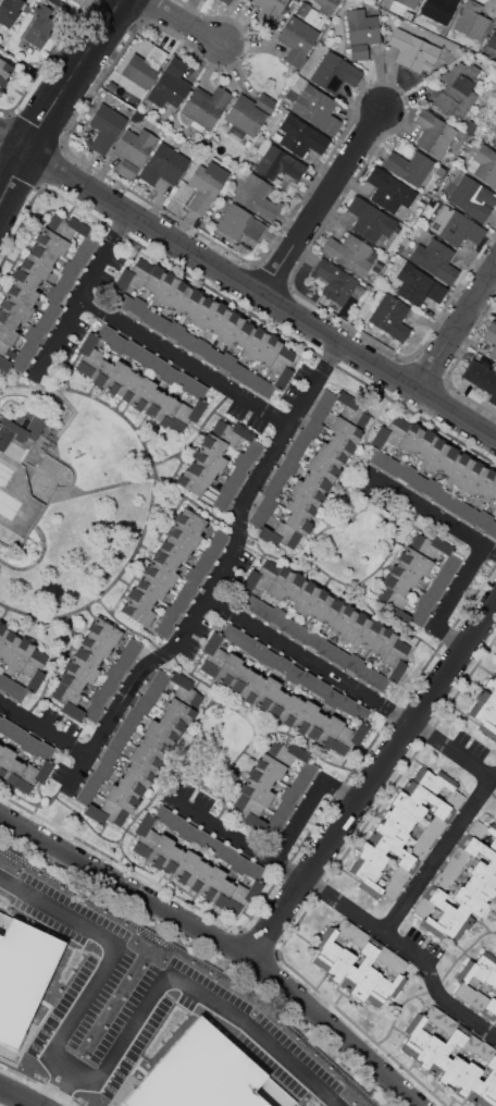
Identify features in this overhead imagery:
building: (225, 1)
building: (409, 2)
building: (326, 5)
building: (26, 8)
building: (303, 9)
building: (269, 10)
building: (438, 10)
building: (10, 11)
building: (419, 16)
building: (471, 21)
road: (186, 22)
building: (40, 26)
building: (361, 33)
building: (492, 38)
building: (297, 40)
building: (413, 51)
building: (144, 66)
building: (4, 70)
building: (335, 73)
building: (170, 84)
building: (110, 85)
building: (457, 90)
building: (131, 98)
road: (59, 101)
building: (495, 106)
building: (206, 107)
building: (318, 110)
building: (248, 114)
building: (137, 115)
building: (469, 127)
building: (494, 127)
building: (104, 128)
building: (434, 134)
building: (300, 136)
building: (494, 142)
building: (132, 151)
building: (277, 162)
building: (164, 164)
building: (484, 165)
building: (409, 167)
building: (206, 185)
building: (388, 189)
building: (438, 192)
building: (257, 197)
building: (472, 198)
building: (423, 199)
road: (324, 201)
building: (370, 220)
building: (239, 223)
building: (66, 226)
building: (457, 226)
building: (397, 230)
building: (51, 241)
building: (88, 243)
building: (402, 244)
building: (42, 253)
building: (348, 253)
building: (79, 258)
building: (435, 260)
building: (35, 266)
building: (70, 269)
building: (134, 274)
building: (25, 278)
building: (153, 278)
building: (335, 281)
building: (64, 283)
road: (247, 284)
building: (418, 285)
building: (165, 288)
building: (22, 292)
building: (54, 294)
building: (178, 295)
building: (122, 300)
building: (191, 302)
building: (137, 306)
building: (16, 307)
building: (51, 310)
building: (202, 312)
building: (147, 316)
building: (390, 317)
building: (216, 318)
building: (495, 318)
building: (9, 319)
building: (44, 323)
building: (161, 324)
building: (230, 328)
building: (175, 330)
road: (457, 331)
building: (107, 333)
building: (7, 334)
building: (33, 334)
road: (59, 334)
building: (244, 334)
road: (147, 335)
building: (491, 337)
building: (186, 340)
building: (255, 343)
building: (117, 344)
building: (200, 346)
building: (28, 348)
building: (132, 349)
building: (269, 349)
building: (88, 355)
building: (212, 356)
building: (145, 357)
building: (3, 358)
building: (20, 361)
building: (226, 361)
building: (158, 366)
building: (282, 366)
building: (237, 371)
building: (101, 372)
building: (170, 374)
building: (114, 377)
building: (481, 378)
building: (184, 380)
building: (250, 380)
building: (128, 385)
building: (264, 388)
building: (198, 389)
building: (141, 394)
building: (326, 400)
building: (152, 403)
building: (165, 410)
building: (352, 410)
building: (318, 413)
building: (185, 415)
building: (312, 427)
building: (20, 428)
building: (346, 429)
building: (232, 432)
building: (389, 432)
building: (410, 437)
building: (302, 439)
building: (212, 443)
building: (424, 443)
building: (340, 444)
building: (253, 450)
building: (295, 452)
building: (330, 455)
building: (435, 455)
building: (210, 458)
building: (379, 458)
building: (448, 460)
building: (243, 462)
building: (288, 465)
building: (393, 467)
building: (322, 468)
building: (460, 469)
building: (201, 471)
building: (407, 472)
building: (237, 476)
building: (280, 477)
building: (473, 478)
building: (317, 482)
building: (418, 482)
building: (486, 484)
building: (197, 486)
building: (228, 488)
building: (431, 488)
building: (271, 490)
building: (307, 493)
building: (493, 494)
building: (443, 497)
building: (222, 501)
building: (268, 504)
building: (456, 505)
building: (300, 507)
road: (429, 509)
building: (469, 514)
building: (259, 517)
building: (483, 519)
building: (190, 520)
building: (298, 524)
building: (491, 529)
building: (184, 534)
building: (278, 534)
building: (219, 538)
building: (430, 545)
building: (175, 548)
building: (211, 551)
building: (166, 560)
building: (414, 560)
building: (203, 564)
building: (451, 564)
building: (405, 573)
building: (160, 574)
building: (194, 576)
building: (261, 576)
road: (222, 577)
building: (443, 577)
building: (281, 582)
building: (396, 583)
building: (152, 587)
building: (295, 588)
building: (187, 590)
building: (434, 590)
building: (140, 597)
building: (305, 598)
road: (449, 598)
building: (424, 601)
building: (249, 602)
building: (179, 603)
building: (319, 604)
building: (394, 604)
building: (262, 611)
building: (137, 612)
building: (332, 612)
building: (170, 615)
building: (276, 616)
building: (419, 616)
building: (344, 620)
building: (288, 626)
building: (164, 629)
building: (357, 629)
building: (104, 630)
building: (2, 632)
building: (231, 632)
building: (301, 634)
building: (371, 634)
building: (314, 640)
building: (244, 641)
building: (383, 642)
building: (97, 643)
building: (8, 644)
building: (133, 648)
building: (257, 650)
building: (326, 650)
building: (21, 654)
building: (213, 654)
building: (88, 655)
building: (339, 658)
building: (269, 659)
building: (124, 661)
road: (312, 661)
building: (396, 661)
building: (354, 663)
building: (283, 664)
building: (82, 668)
building: (34, 669)
building: (227, 669)
building: (114, 672)
building: (0, 673)
building: (294, 674)
building: (365, 674)
building: (239, 678)
building: (160, 679)
building: (72, 680)
building: (308, 680)
building: (379, 681)
building: (5, 683)
building: (491, 684)
building: (109, 686)
building: (251, 687)
building: (321, 688)
building: (185, 690)
building: (16, 691)
building: (265, 692)
building: (151, 693)
building: (98, 697)
building: (332, 699)
building: (487, 699)
building: (67, 700)
building: (276, 703)
building: (346, 703)
building: (142, 705)
building: (181, 710)
building: (289, 710)
building: (94, 712)
building: (360, 712)
building: (133, 716)
building: (303, 716)
building: (0, 717)
building: (484, 720)
building: (172, 723)
building: (315, 725)
building: (7, 726)
road: (45, 727)
building: (125, 729)
building: (328, 732)
building: (161, 734)
building: (18, 735)
building: (349, 737)
building: (117, 742)
building: (29, 744)
building: (0, 747)
building: (153, 747)
building: (44, 750)
road: (455, 751)
building: (286, 752)
building: (109, 755)
building: (5, 759)
building: (144, 760)
building: (270, 766)
building: (103, 770)
building: (308, 771)
building: (12, 773)
building: (137, 774)
building: (33, 775)
building: (259, 777)
building: (433, 781)
building: (94, 782)
road: (373, 783)
building: (299, 784)
building: (131, 787)
building: (256, 792)
building: (85, 795)
building: (289, 795)
building: (121, 798)
building: (454, 799)
building: (429, 801)
road: (310, 806)
building: (408, 806)
building: (284, 809)
building: (106, 812)
building: (162, 813)
building: (250, 813)
building: (399, 818)
building: (175, 822)
building: (276, 822)
building: (435, 825)
building: (478, 828)
building: (188, 832)
building: (392, 832)
building: (145, 835)
building: (492, 835)
building: (425, 837)
building: (201, 838)
building: (214, 846)
building: (159, 850)
building: (394, 851)
building: (418, 851)
building: (227, 855)
building: (372, 856)
road: (443, 856)
building: (459, 856)
building: (172, 859)
building: (492, 862)
building: (239, 864)
building: (185, 865)
building: (253, 870)
building: (450, 870)
building: (197, 875)
building: (398, 876)
building: (367, 877)
building: (441, 881)
building: (211, 882)
building: (479, 888)
building: (390, 889)
building: (222, 893)
building: (243, 895)
road: (336, 898)
building: (470, 900)
building: (423, 907)
building: (448, 907)
building: (445, 926)
building: (346, 927)
building: (359, 937)
road: (223, 941)
building: (326, 948)
building: (384, 955)
building: (361, 963)
building: (340, 964)
building: (397, 964)
building: (478, 967)
building: (491, 978)
building: (365, 983)
building: (385, 988)
building: (464, 993)
building: (479, 1000)
building: (489, 1009)
building: (433, 1015)
building: (495, 1019)
building: (447, 1024)
building: (416, 1036)
building: (471, 1043)
building: (447, 1049)
building: (485, 1050)
building: (429, 1052)
road: (103, 1068)
building: (452, 1071)
building: (467, 1078)
building: (483, 1081)
road: (58, 1086)
building: (489, 1095)
road: (18, 1096)

